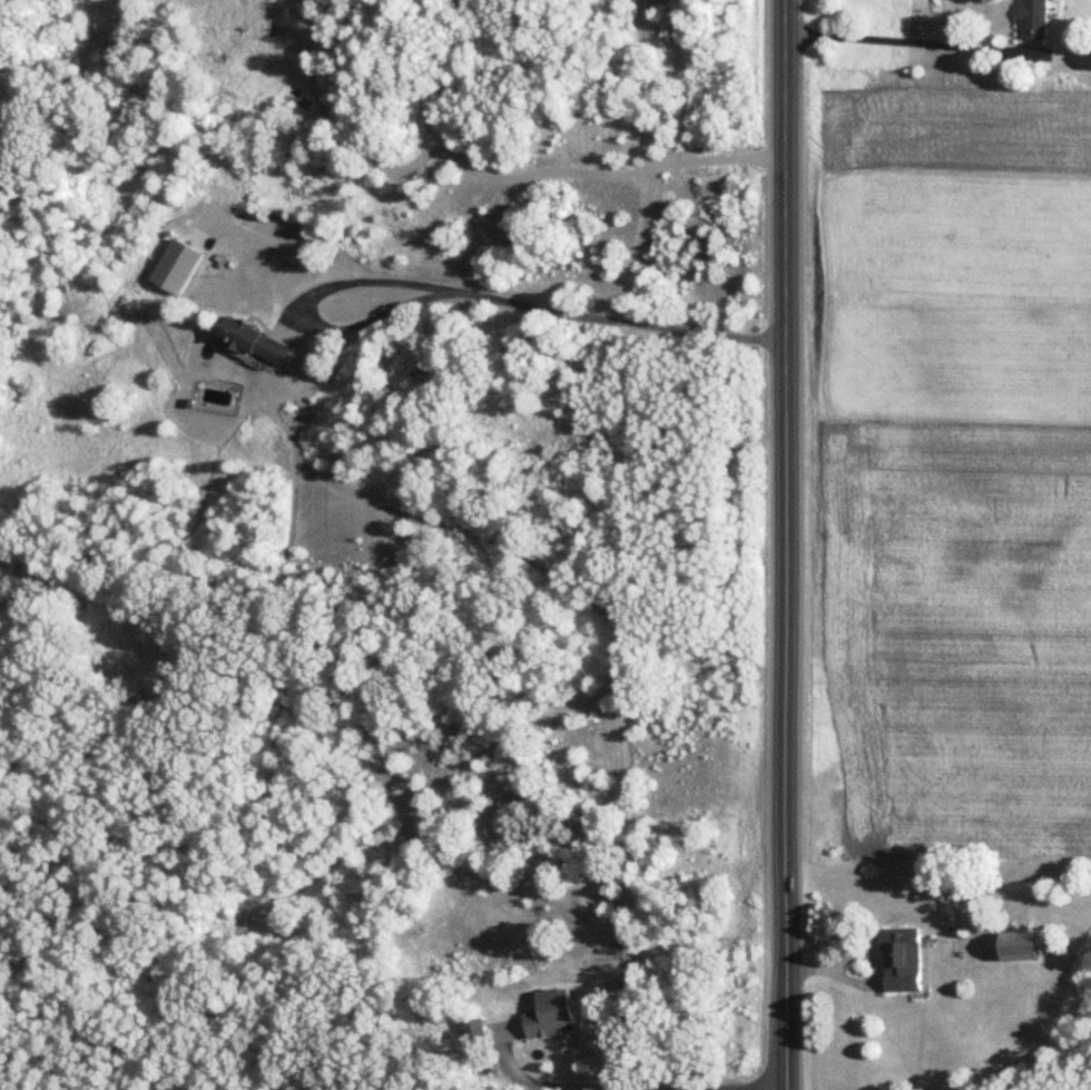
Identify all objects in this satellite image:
building: (1035, 20)
road: (907, 41)
building: (1085, 61)
road: (277, 251)
road: (543, 306)
building: (256, 343)
road: (785, 544)
building: (1023, 947)
building: (904, 961)
building: (553, 1015)
building: (478, 1033)

